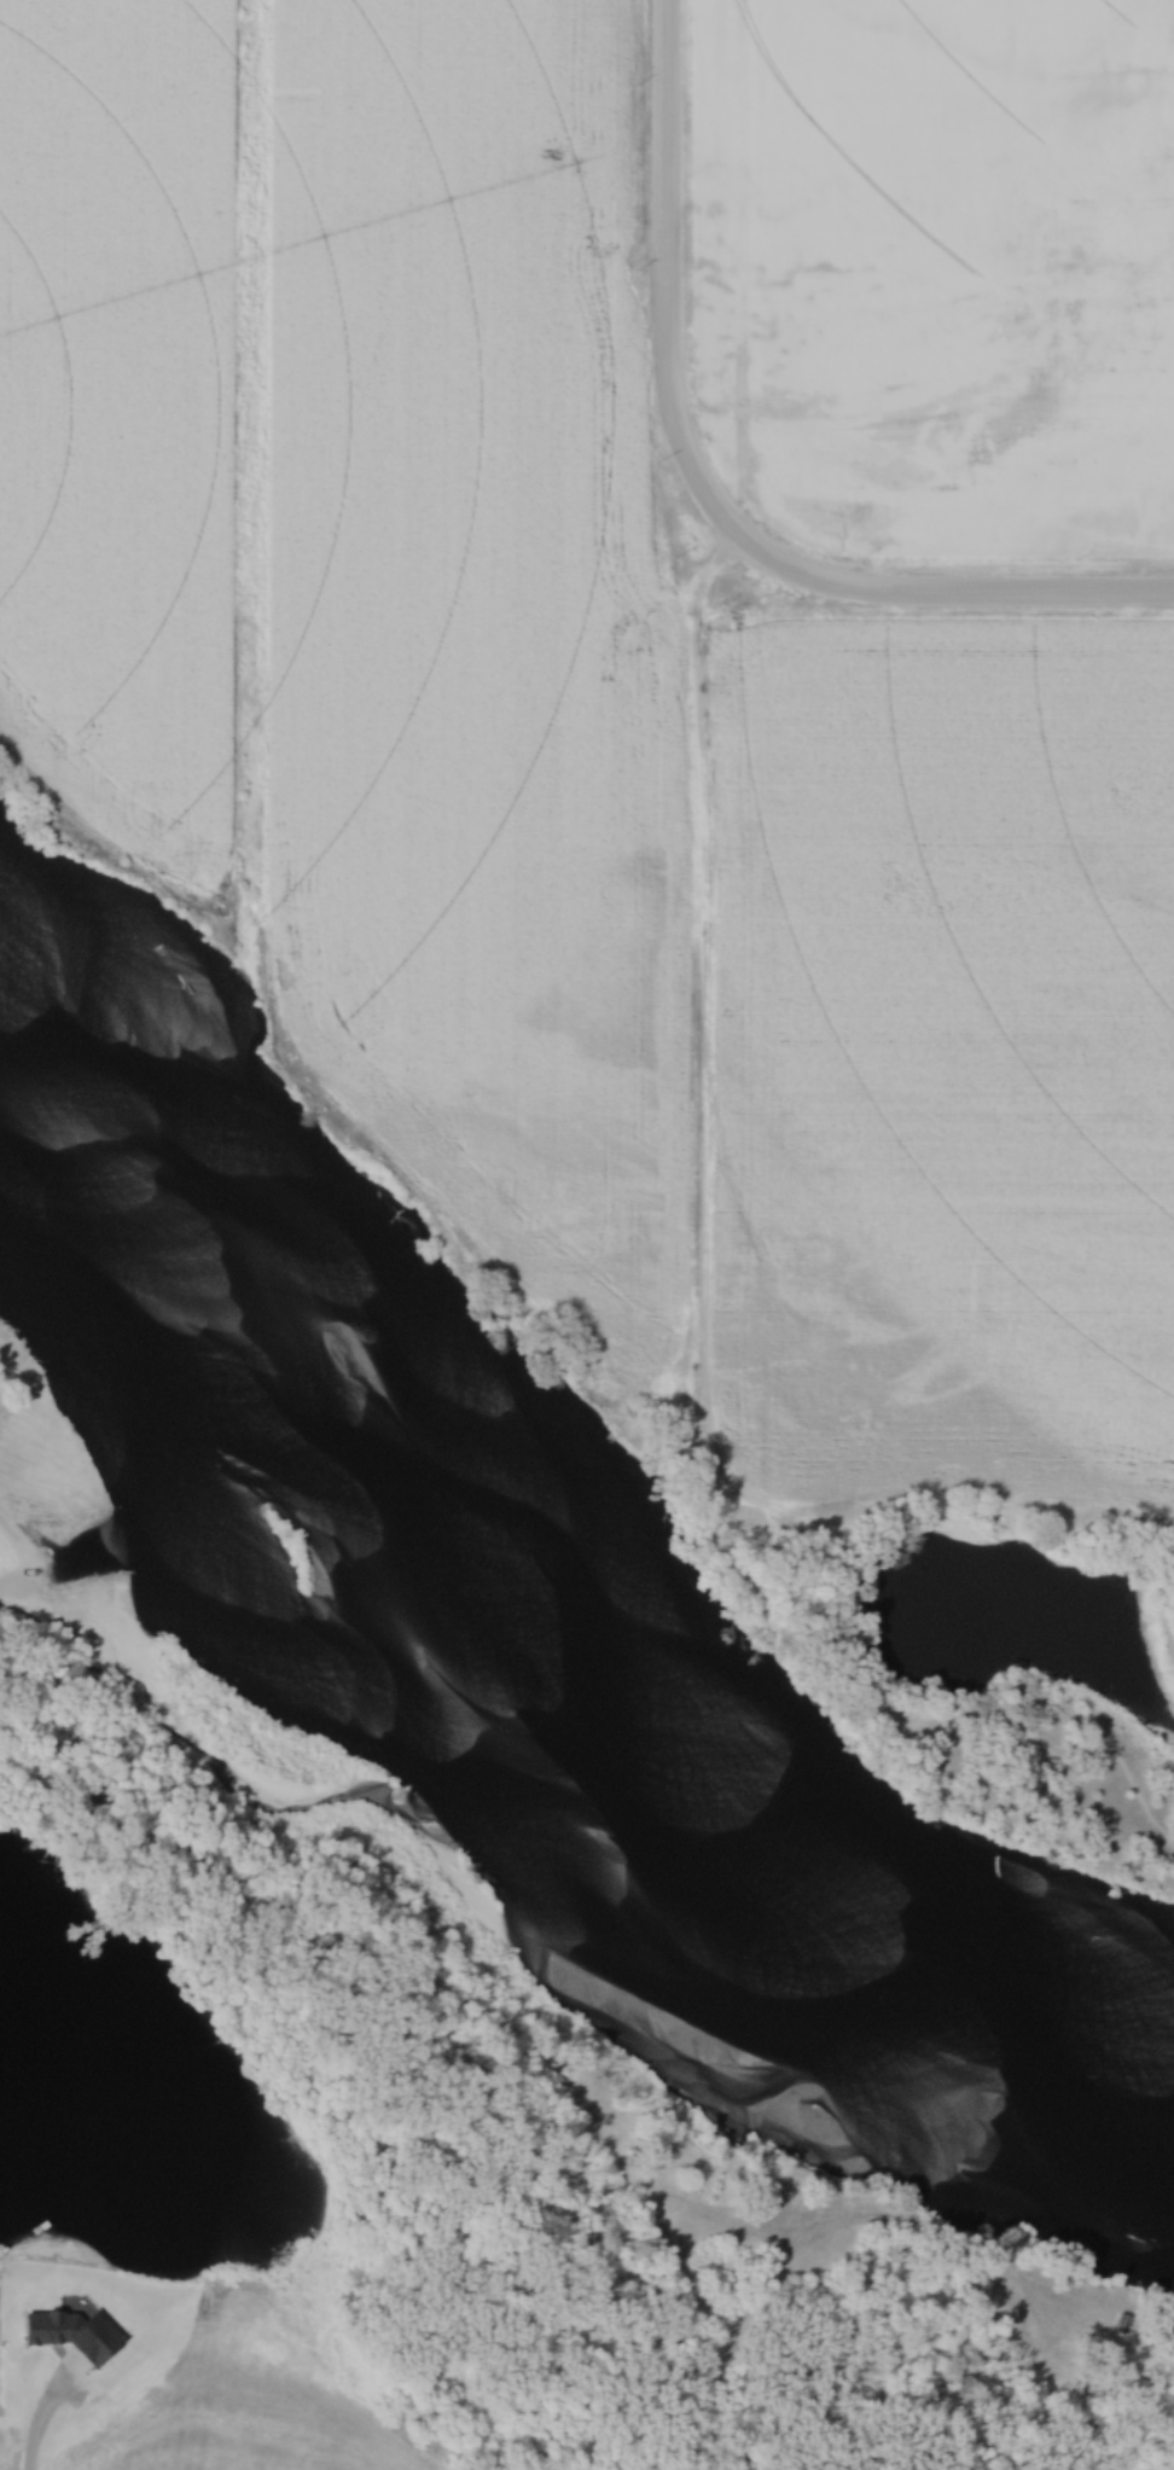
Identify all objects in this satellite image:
road: (703, 496)
river: (518, 1592)
park: (970, 1656)

